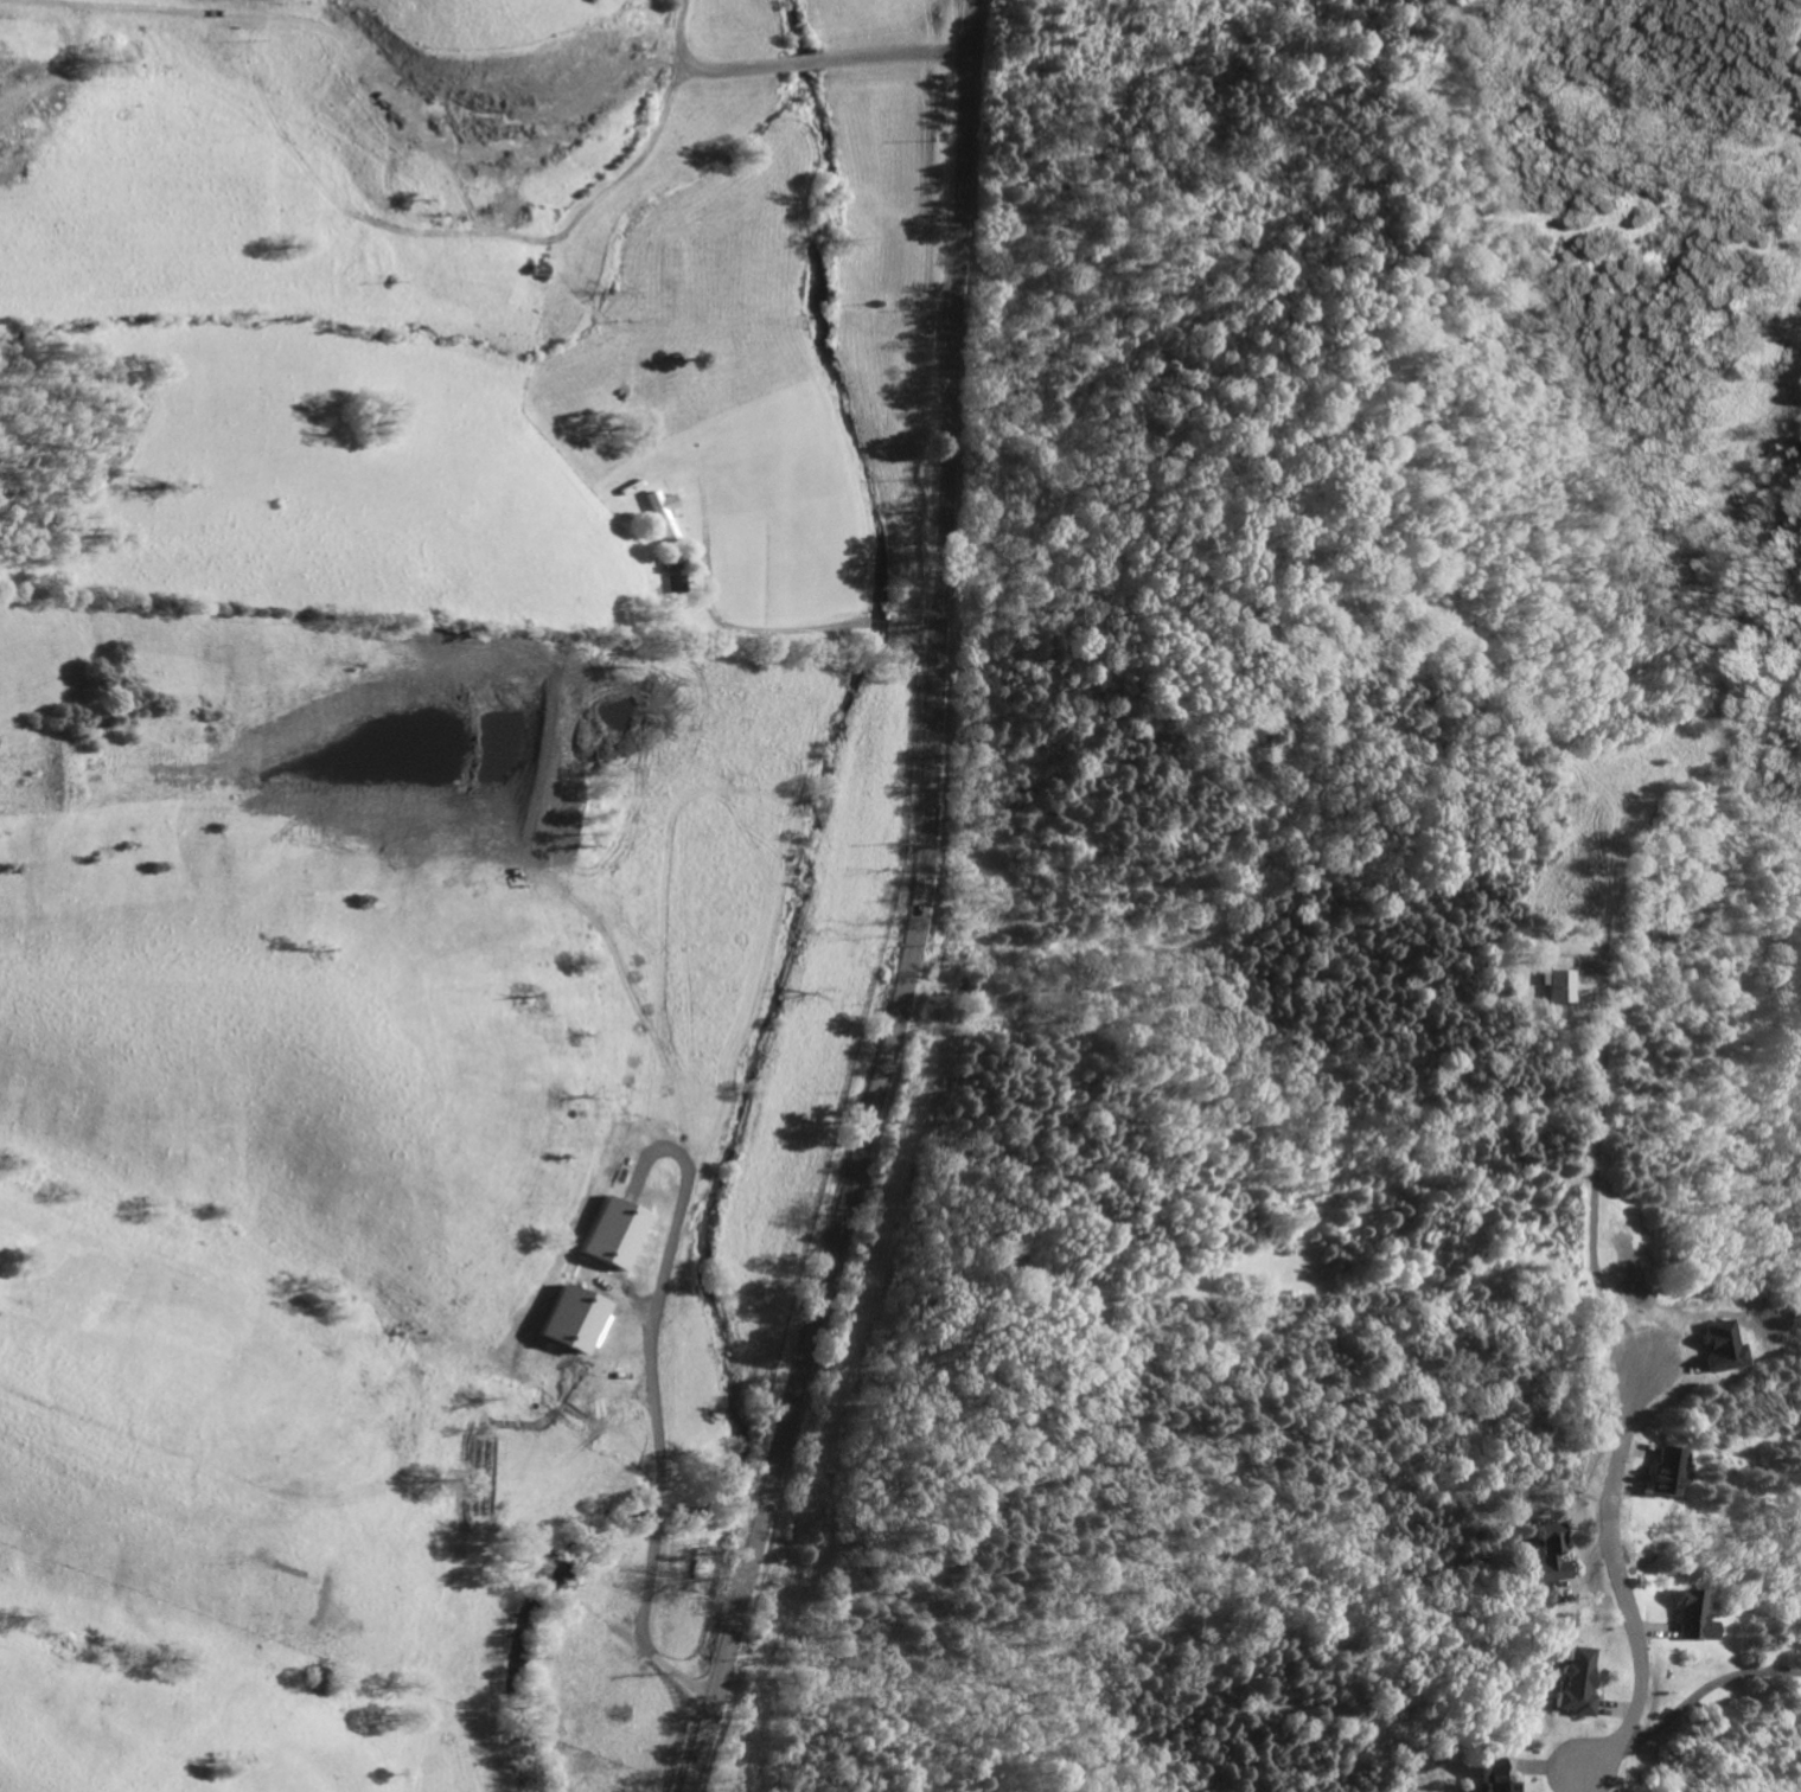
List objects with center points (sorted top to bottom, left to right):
road: (791, 73)
building: (663, 513)
building: (676, 584)
road: (792, 629)
road: (921, 909)
building: (1554, 985)
building: (1713, 1344)
building: (1660, 1471)
building: (1547, 1555)
road: (1622, 1602)
building: (1687, 1618)
building: (1572, 1683)
road: (618, 1685)
road: (1700, 1691)
building: (1488, 1767)
building: (1495, 1787)

